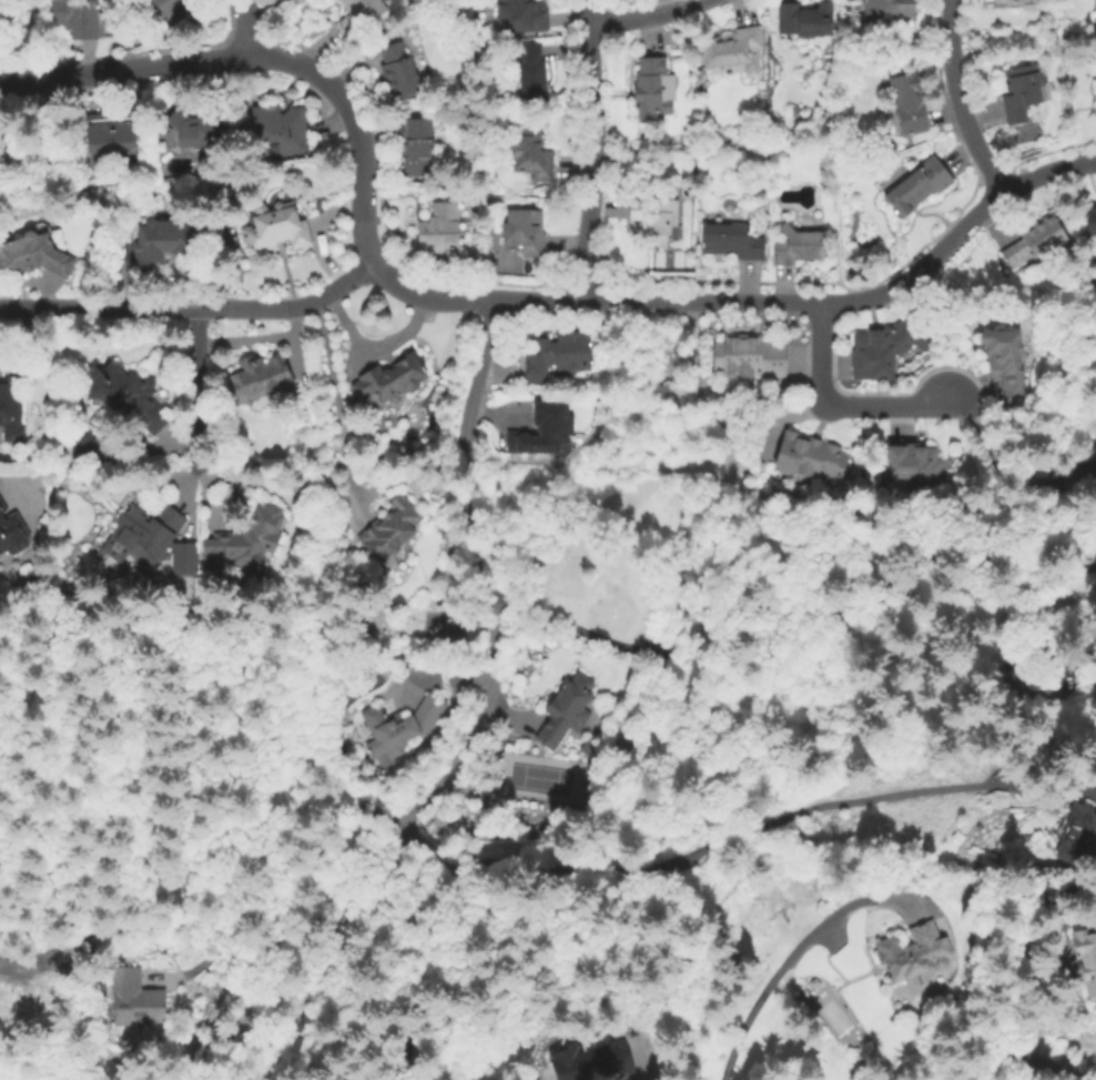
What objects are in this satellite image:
building: (1013, 1)
building: (1, 2)
building: (180, 7)
building: (890, 8)
building: (358, 14)
road: (646, 14)
building: (522, 17)
building: (78, 18)
building: (805, 20)
road: (255, 29)
building: (731, 48)
road: (262, 60)
building: (398, 72)
building: (532, 73)
building: (650, 89)
building: (1023, 91)
building: (1095, 93)
road: (961, 100)
building: (909, 102)
building: (193, 128)
building: (278, 130)
building: (109, 132)
building: (415, 144)
road: (596, 149)
building: (31, 153)
building: (531, 154)
building: (917, 186)
building: (729, 205)
building: (657, 216)
building: (1089, 221)
building: (276, 229)
building: (439, 230)
building: (525, 233)
building: (162, 242)
building: (1035, 242)
building: (732, 243)
building: (798, 246)
building: (33, 256)
road: (750, 299)
road: (193, 312)
building: (882, 349)
road: (372, 351)
building: (745, 356)
building: (556, 357)
building: (1004, 357)
building: (261, 377)
building: (392, 380)
road: (477, 381)
road: (196, 390)
building: (126, 396)
road: (333, 397)
road: (839, 403)
building: (11, 414)
building: (544, 427)
building: (85, 448)
building: (809, 460)
building: (910, 462)
building: (1087, 478)
building: (392, 528)
building: (12, 532)
building: (144, 533)
building: (246, 542)
building: (184, 558)
road: (488, 655)
road: (727, 676)
building: (1031, 683)
building: (336, 706)
building: (566, 709)
building: (403, 727)
park: (539, 778)
road: (743, 830)
building: (1079, 832)
road: (220, 915)
road: (451, 943)
road: (325, 949)
building: (909, 952)
building: (1088, 953)
road: (792, 956)
building: (135, 999)
building: (591, 1060)
road: (1046, 1069)

